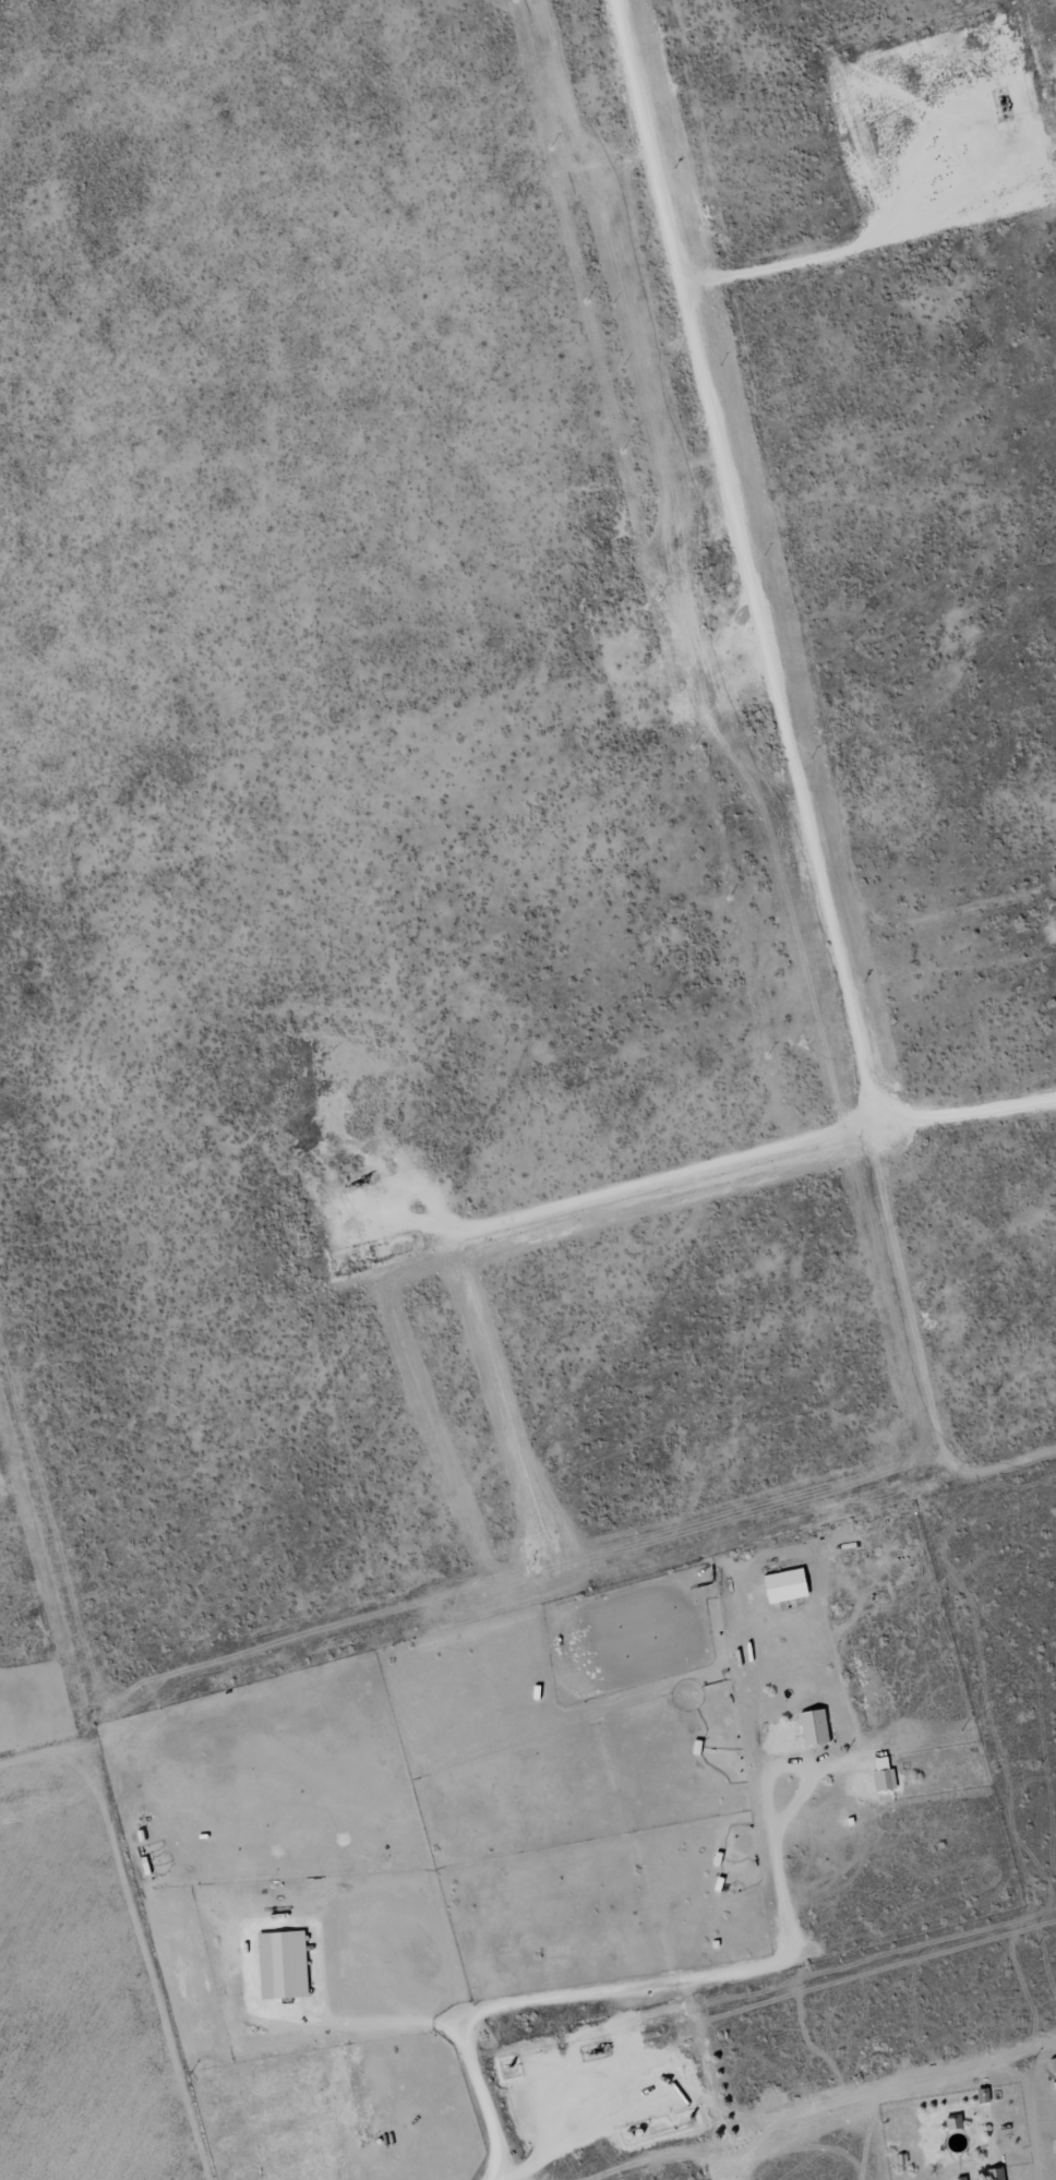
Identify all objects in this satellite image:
building: (782, 1586)
building: (811, 1727)
road: (793, 1763)
building: (880, 1775)
building: (279, 1965)
road: (607, 1990)
building: (994, 2173)

